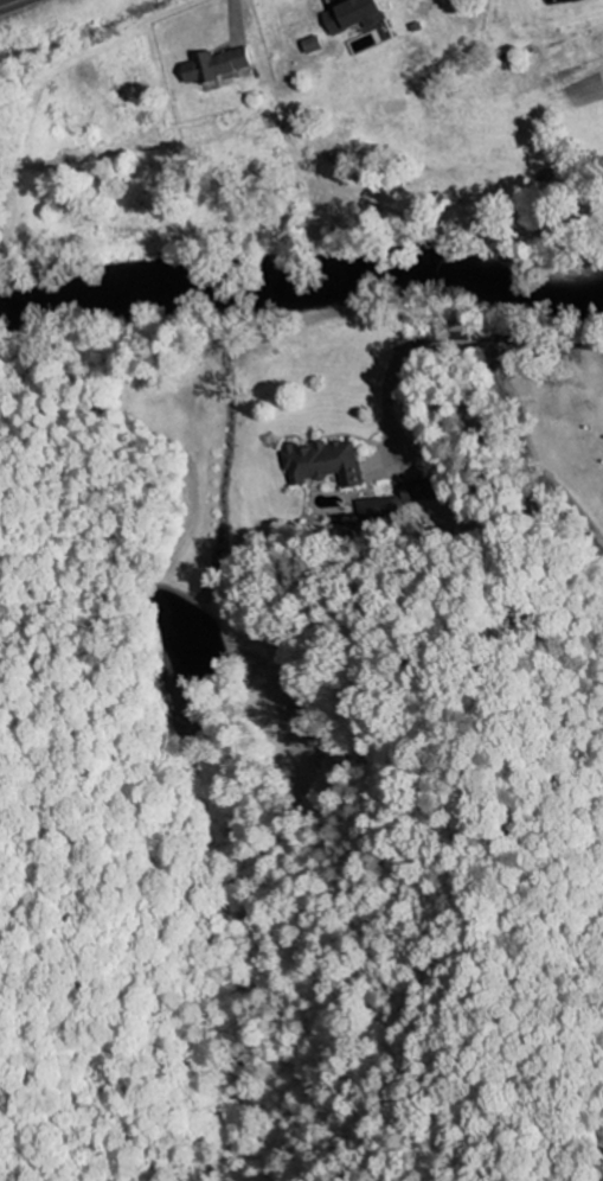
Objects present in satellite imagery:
building: (358, 18)
building: (313, 44)
building: (216, 64)
river: (303, 276)
road: (493, 325)
building: (322, 462)
building: (418, 490)
building: (374, 507)

